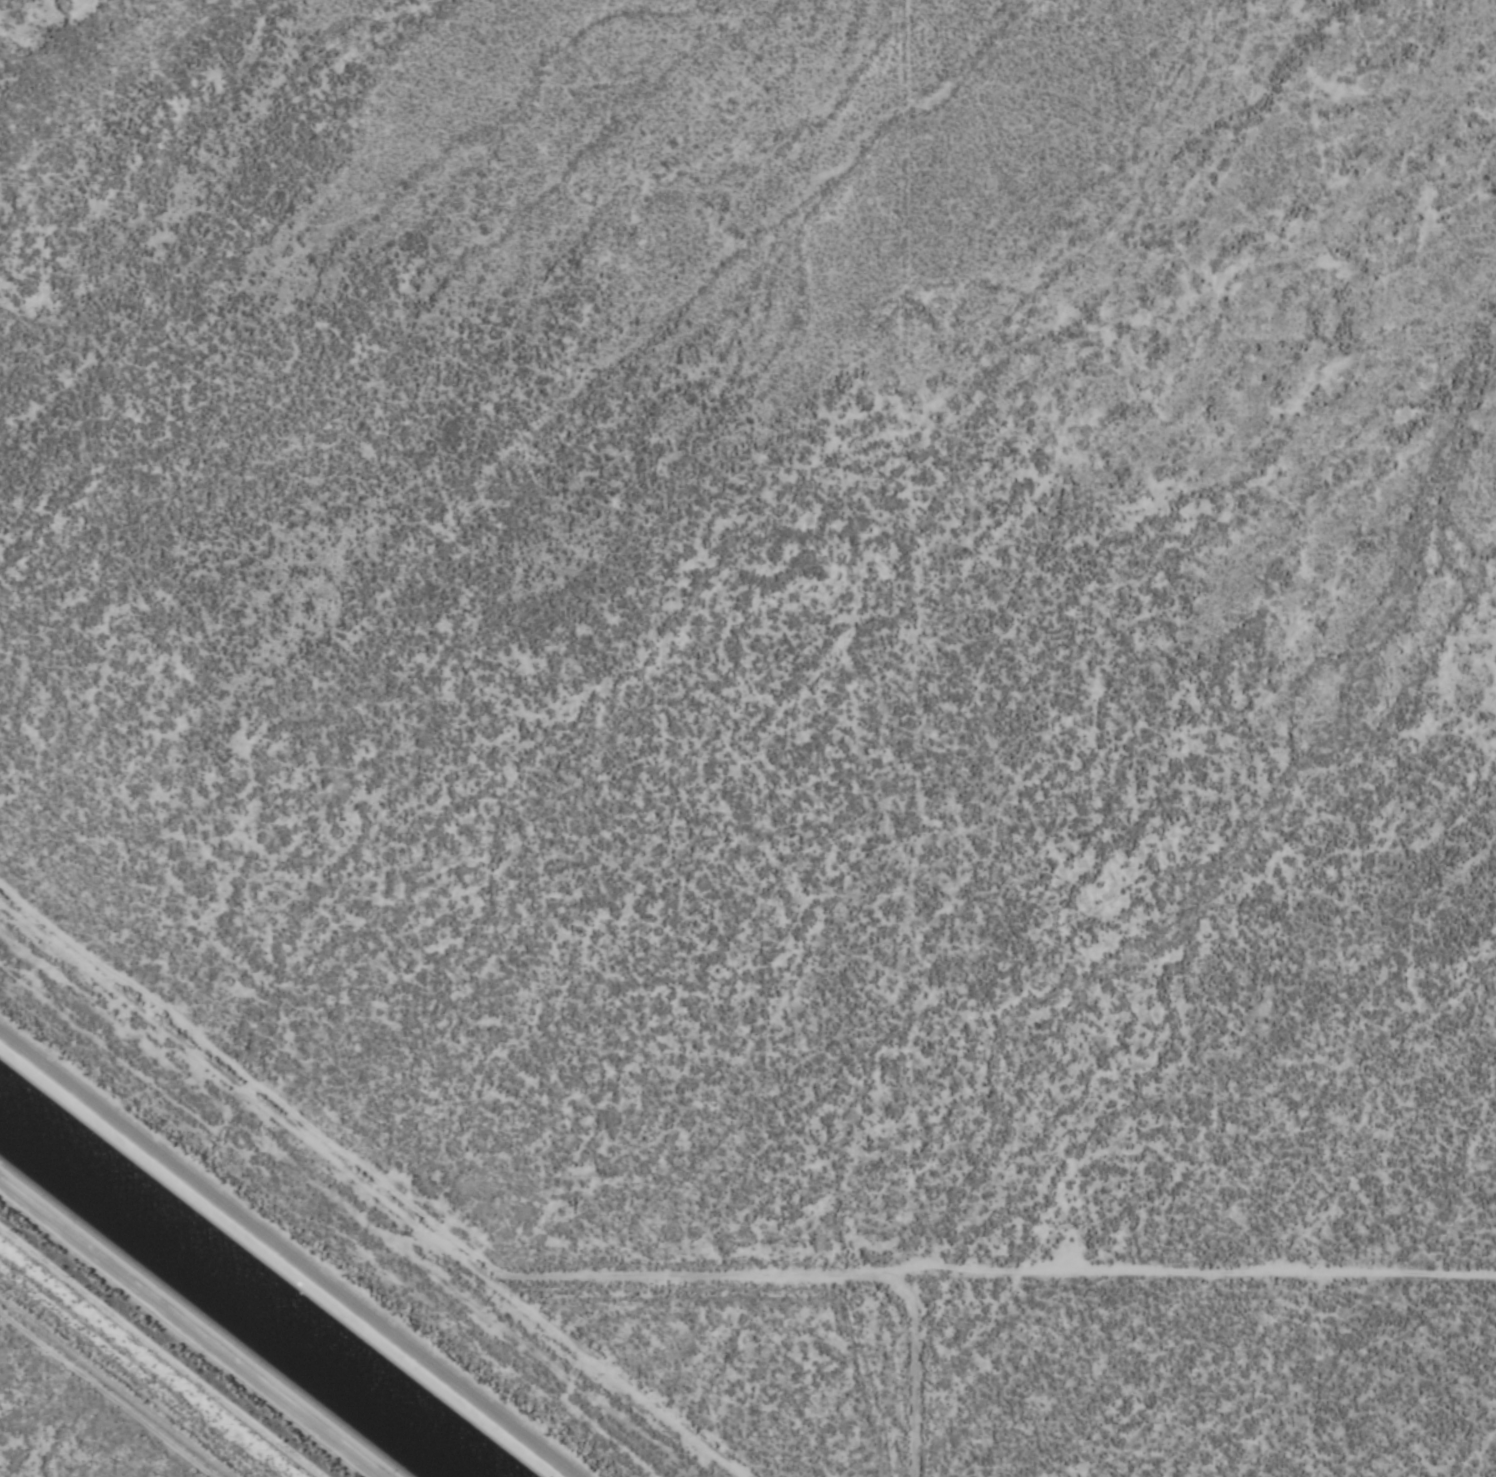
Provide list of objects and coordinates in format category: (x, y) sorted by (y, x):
crop: (808, 671)
road: (290, 1251)
road: (726, 1308)
road: (14, 1318)
road: (129, 1370)

